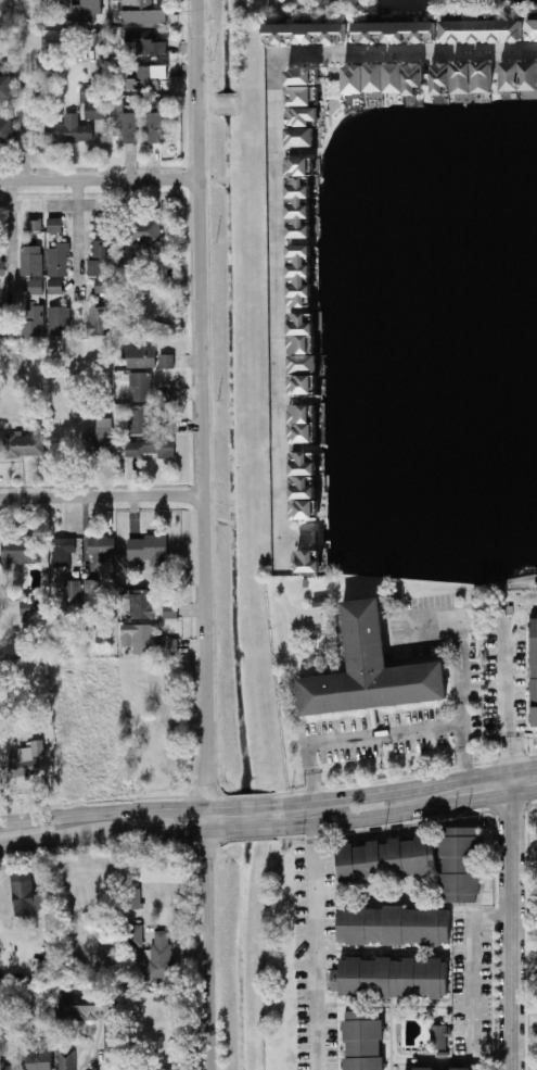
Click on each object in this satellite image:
road: (51, 9)
building: (81, 9)
building: (143, 13)
building: (533, 29)
building: (396, 32)
building: (484, 32)
building: (308, 34)
building: (149, 41)
road: (406, 55)
building: (305, 73)
building: (529, 74)
building: (484, 75)
building: (512, 75)
building: (376, 76)
building: (395, 76)
building: (464, 76)
building: (149, 77)
building: (355, 77)
building: (414, 77)
building: (443, 77)
building: (7, 88)
building: (304, 93)
building: (98, 102)
building: (304, 113)
building: (162, 119)
building: (126, 123)
building: (7, 130)
road: (26, 131)
building: (72, 131)
building: (303, 135)
building: (303, 163)
road: (99, 180)
building: (301, 205)
building: (101, 224)
building: (35, 225)
building: (55, 225)
building: (144, 230)
road: (10, 243)
road: (77, 243)
building: (99, 257)
building: (60, 260)
building: (31, 261)
building: (1, 263)
building: (302, 273)
building: (36, 286)
building: (55, 287)
building: (103, 287)
road: (277, 315)
building: (1, 319)
building: (34, 319)
building: (100, 319)
building: (60, 320)
building: (305, 322)
building: (305, 341)
building: (141, 356)
building: (168, 361)
building: (306, 363)
building: (306, 383)
building: (150, 389)
building: (89, 406)
building: (306, 412)
building: (143, 420)
building: (305, 431)
building: (99, 443)
building: (20, 444)
building: (152, 448)
building: (306, 462)
building: (306, 486)
road: (101, 499)
building: (307, 508)
road: (296, 532)
road: (203, 534)
building: (102, 546)
building: (150, 550)
building: (21, 551)
building: (62, 551)
building: (311, 558)
building: (77, 574)
building: (306, 583)
building: (92, 584)
building: (75, 591)
road: (309, 593)
building: (396, 597)
road: (388, 601)
building: (320, 602)
road: (318, 603)
building: (142, 604)
road: (324, 604)
building: (34, 607)
building: (170, 612)
road: (286, 620)
road: (323, 633)
building: (312, 634)
building: (145, 639)
road: (329, 639)
road: (391, 655)
building: (535, 670)
building: (372, 671)
road: (450, 681)
road: (452, 688)
road: (507, 694)
road: (299, 698)
road: (374, 714)
road: (335, 718)
building: (374, 718)
road: (458, 726)
road: (297, 732)
road: (464, 752)
building: (26, 760)
building: (91, 765)
road: (523, 769)
road: (309, 775)
road: (510, 782)
road: (392, 790)
road: (524, 792)
road: (481, 798)
road: (248, 808)
road: (111, 813)
road: (363, 818)
road: (250, 829)
building: (536, 829)
road: (111, 834)
building: (386, 859)
building: (460, 865)
road: (361, 893)
building: (27, 895)
building: (132, 898)
building: (394, 926)
road: (511, 932)
building: (135, 935)
road: (312, 947)
building: (159, 956)
building: (389, 978)
road: (471, 986)
building: (91, 1012)
building: (439, 1036)
building: (362, 1040)
building: (38, 1059)
building: (67, 1059)
building: (5, 1066)
building: (162, 1069)
building: (442, 1069)

